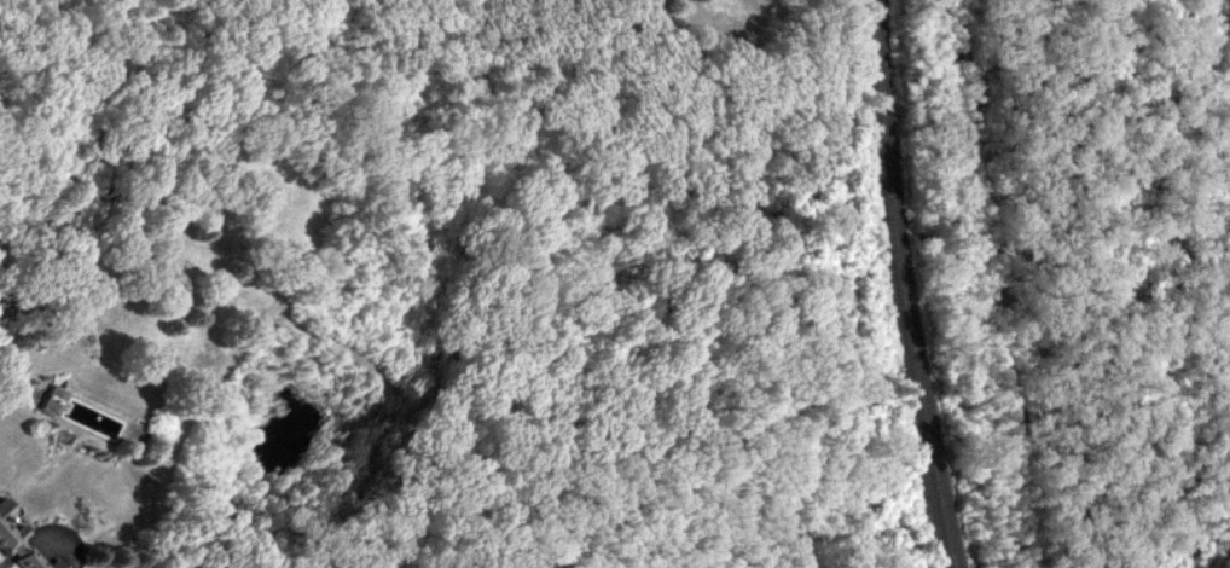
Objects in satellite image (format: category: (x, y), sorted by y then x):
road: (65, 23)
railway: (901, 285)
building: (11, 538)
building: (33, 560)

